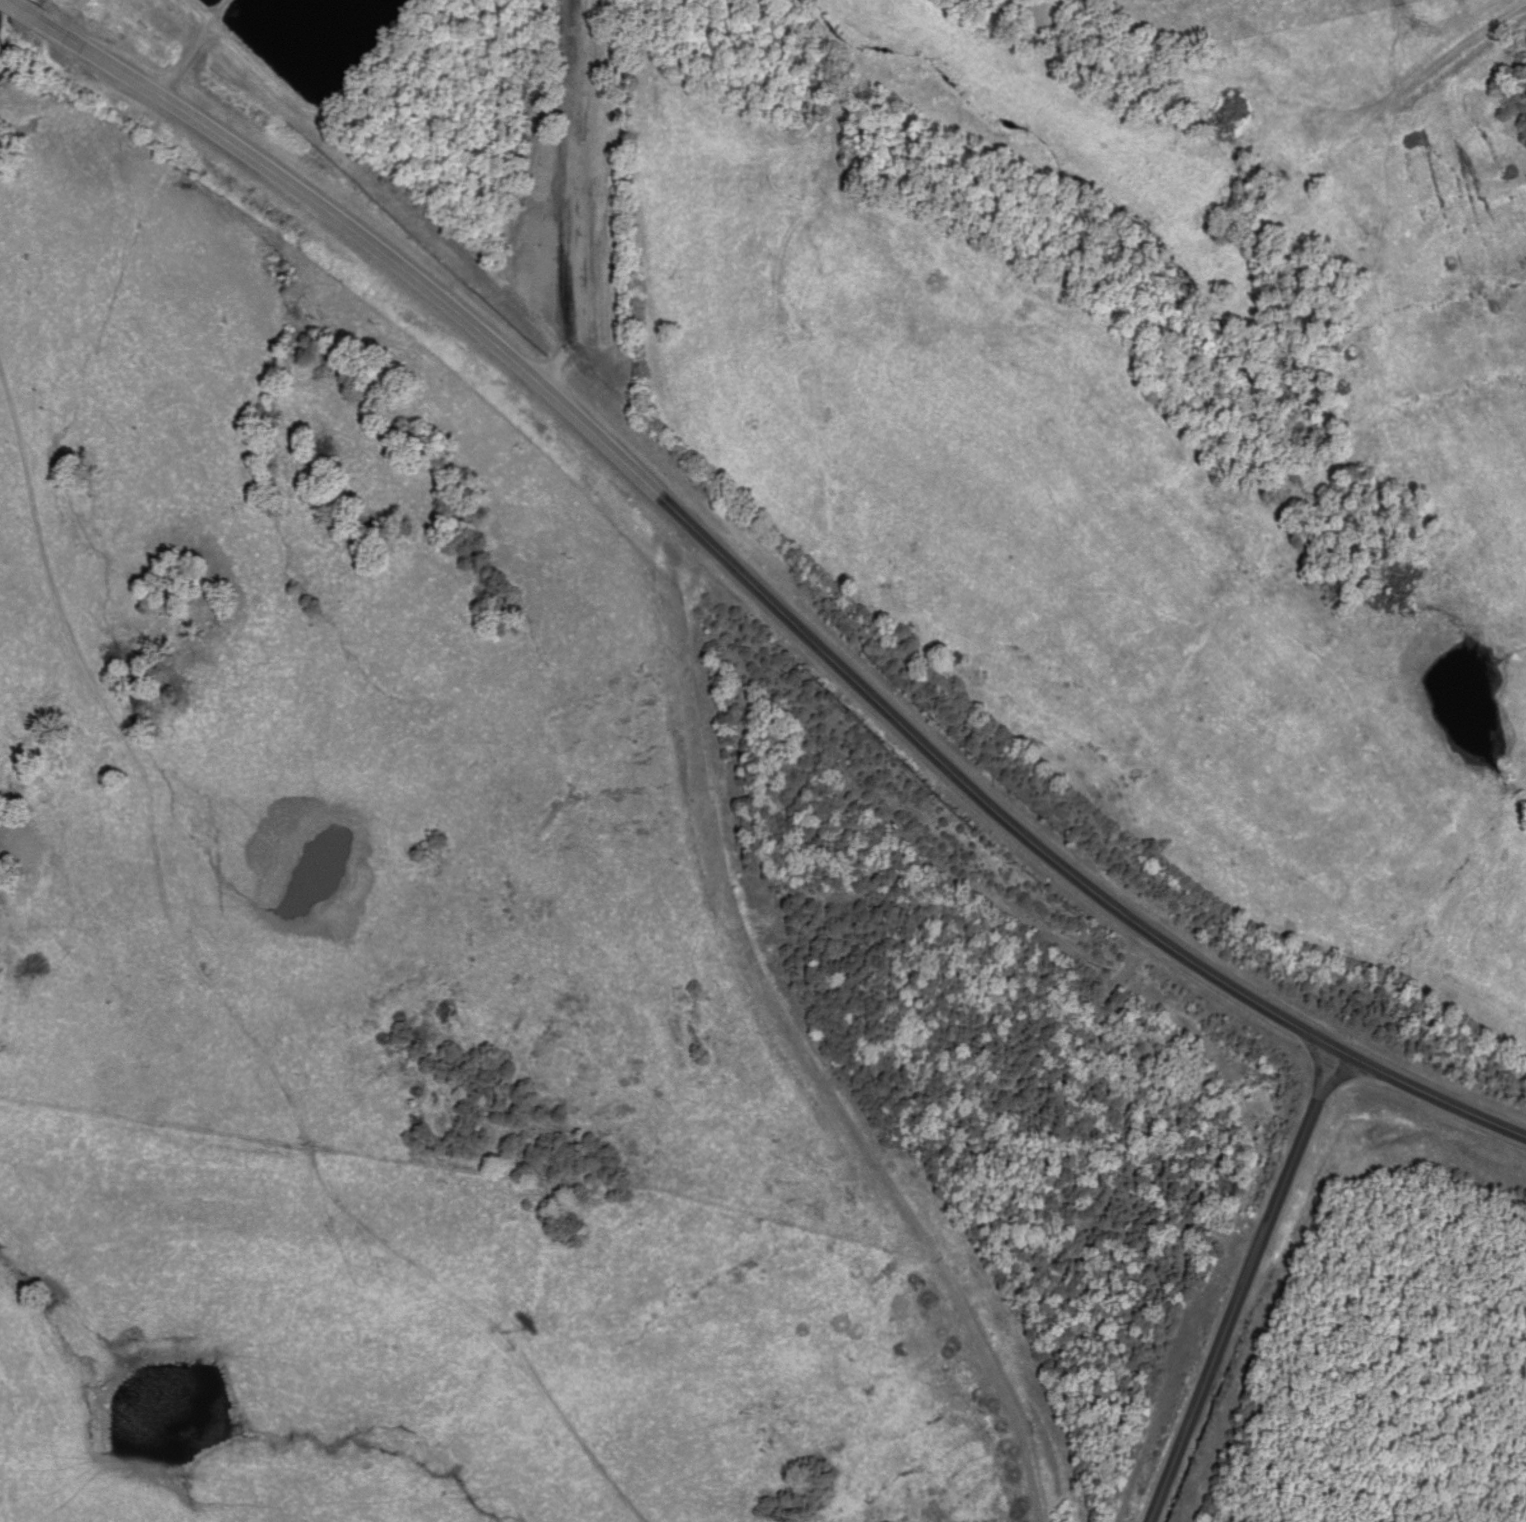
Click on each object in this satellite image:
road: (147, 91)
road: (877, 704)
road: (791, 1025)
road: (1236, 1284)

